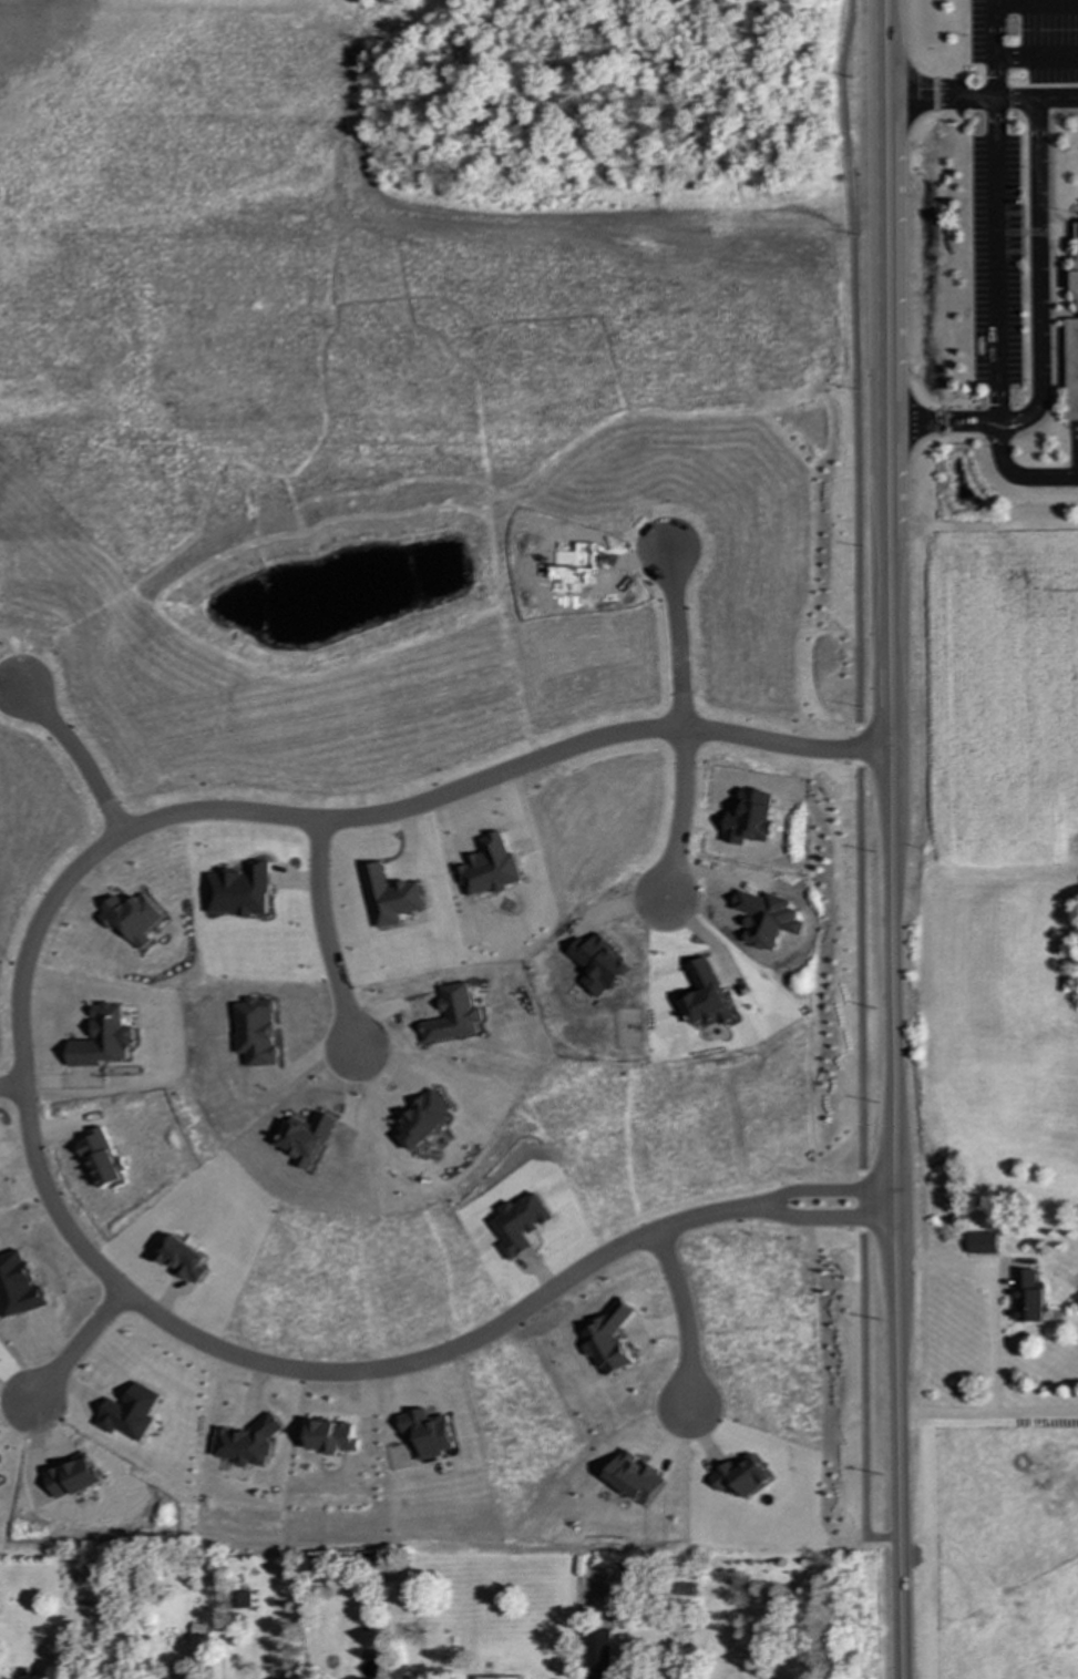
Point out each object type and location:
road: (994, 13)
road: (1035, 58)
road: (1057, 100)
crop: (361, 233)
road: (1037, 254)
road: (993, 262)
building: (1072, 369)
road: (1018, 475)
road: (681, 731)
road: (79, 757)
road: (858, 785)
road: (355, 823)
road: (890, 839)
building: (490, 867)
building: (239, 891)
building: (390, 897)
building: (133, 919)
road: (326, 945)
building: (599, 964)
building: (706, 996)
building: (451, 1015)
building: (254, 1032)
building: (102, 1038)
building: (421, 1119)
building: (305, 1139)
building: (102, 1160)
road: (771, 1208)
building: (519, 1225)
building: (983, 1242)
building: (183, 1259)
road: (81, 1261)
building: (18, 1287)
building: (1027, 1297)
road: (993, 1299)
building: (607, 1339)
road: (474, 1344)
building: (129, 1413)
road: (987, 1416)
building: (425, 1433)
building: (331, 1437)
building: (245, 1444)
building: (634, 1477)
building: (740, 1477)
building: (243, 1599)
building: (598, 1655)
building: (500, 1678)

